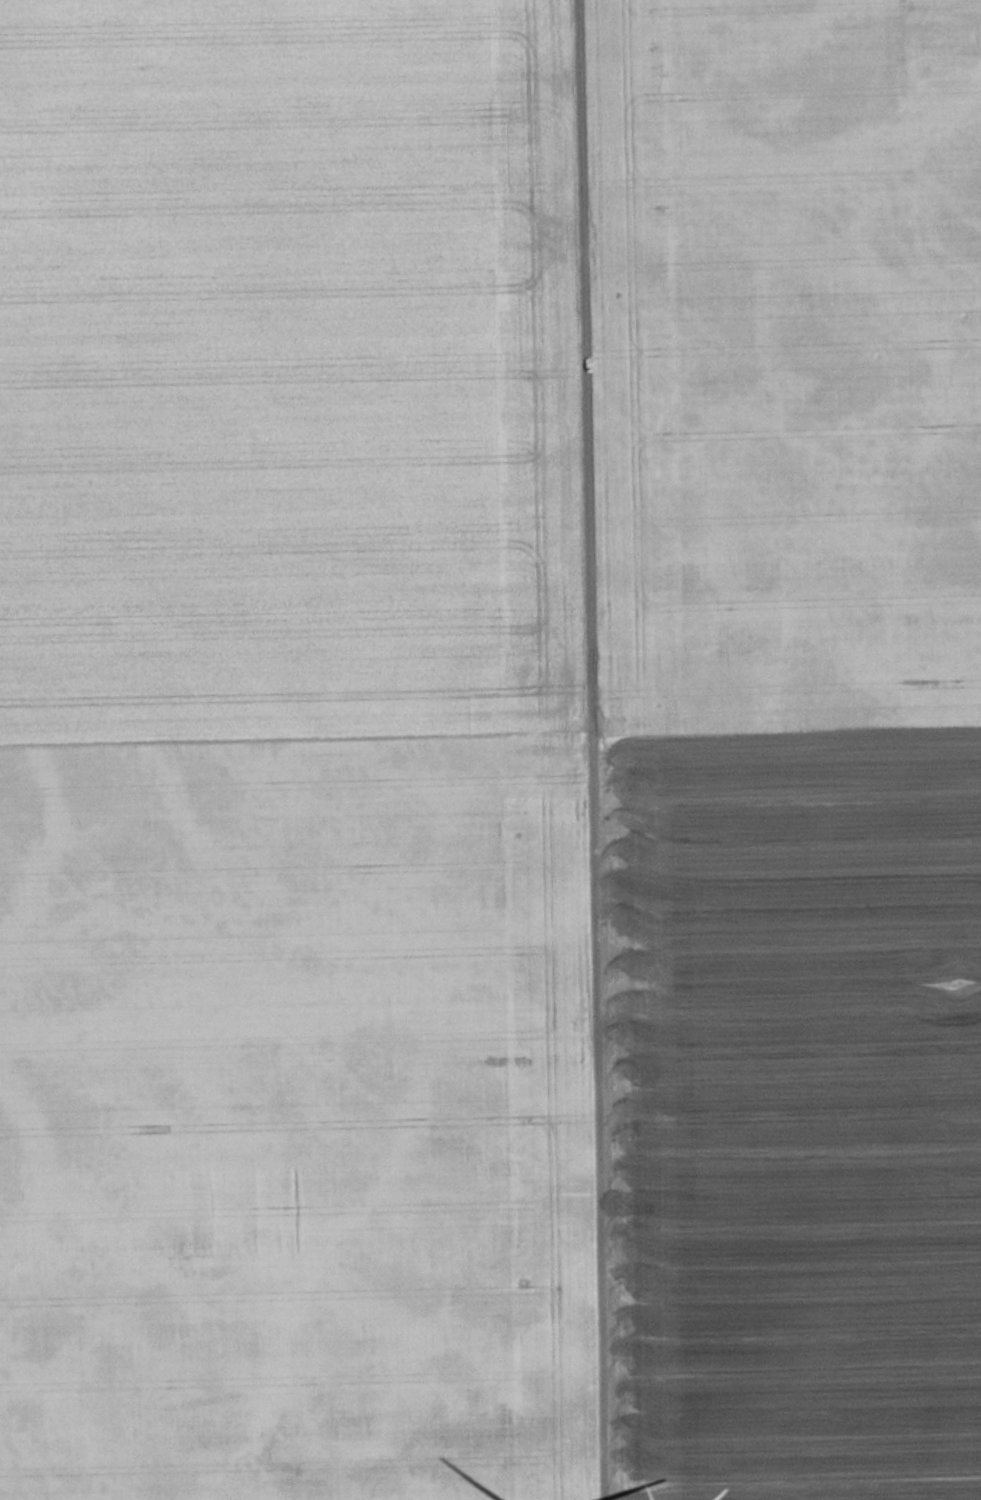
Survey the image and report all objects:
road: (595, 750)

